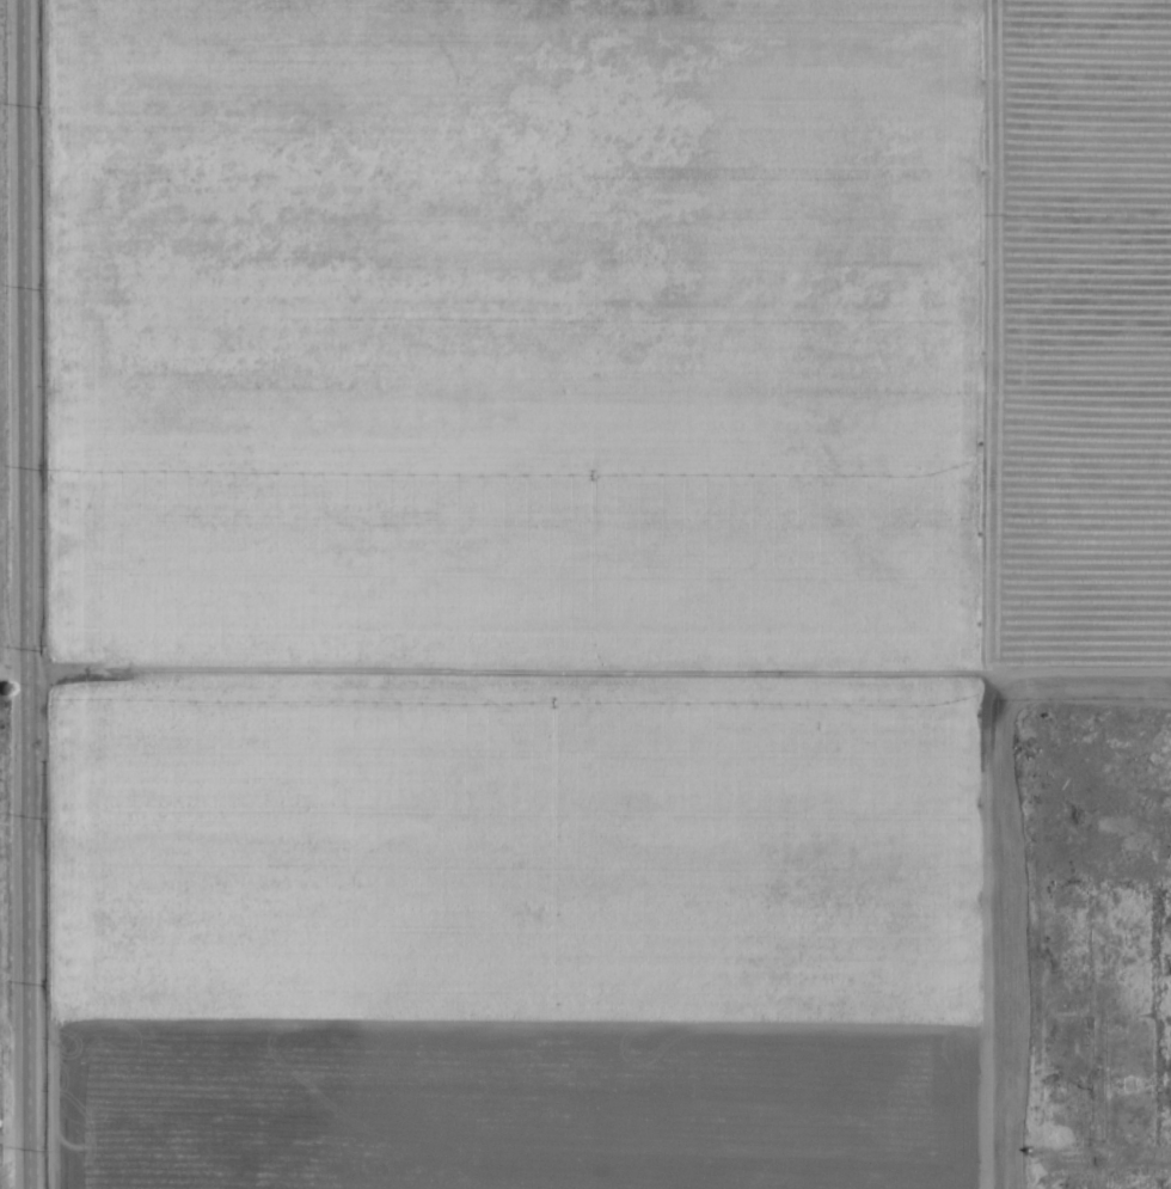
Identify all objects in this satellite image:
crop: (551, 563)
road: (20, 594)
road: (988, 946)

